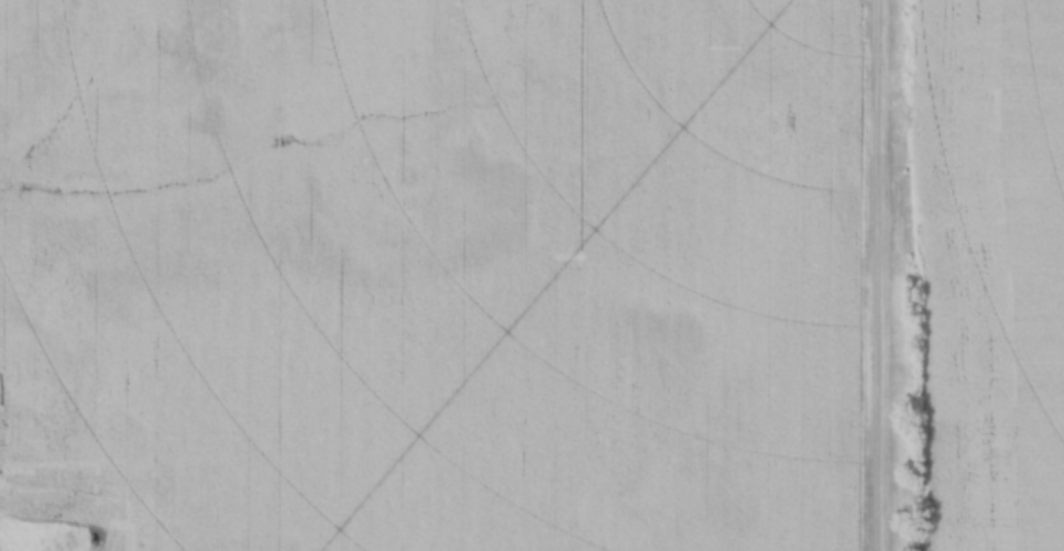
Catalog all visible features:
road: (914, 275)

